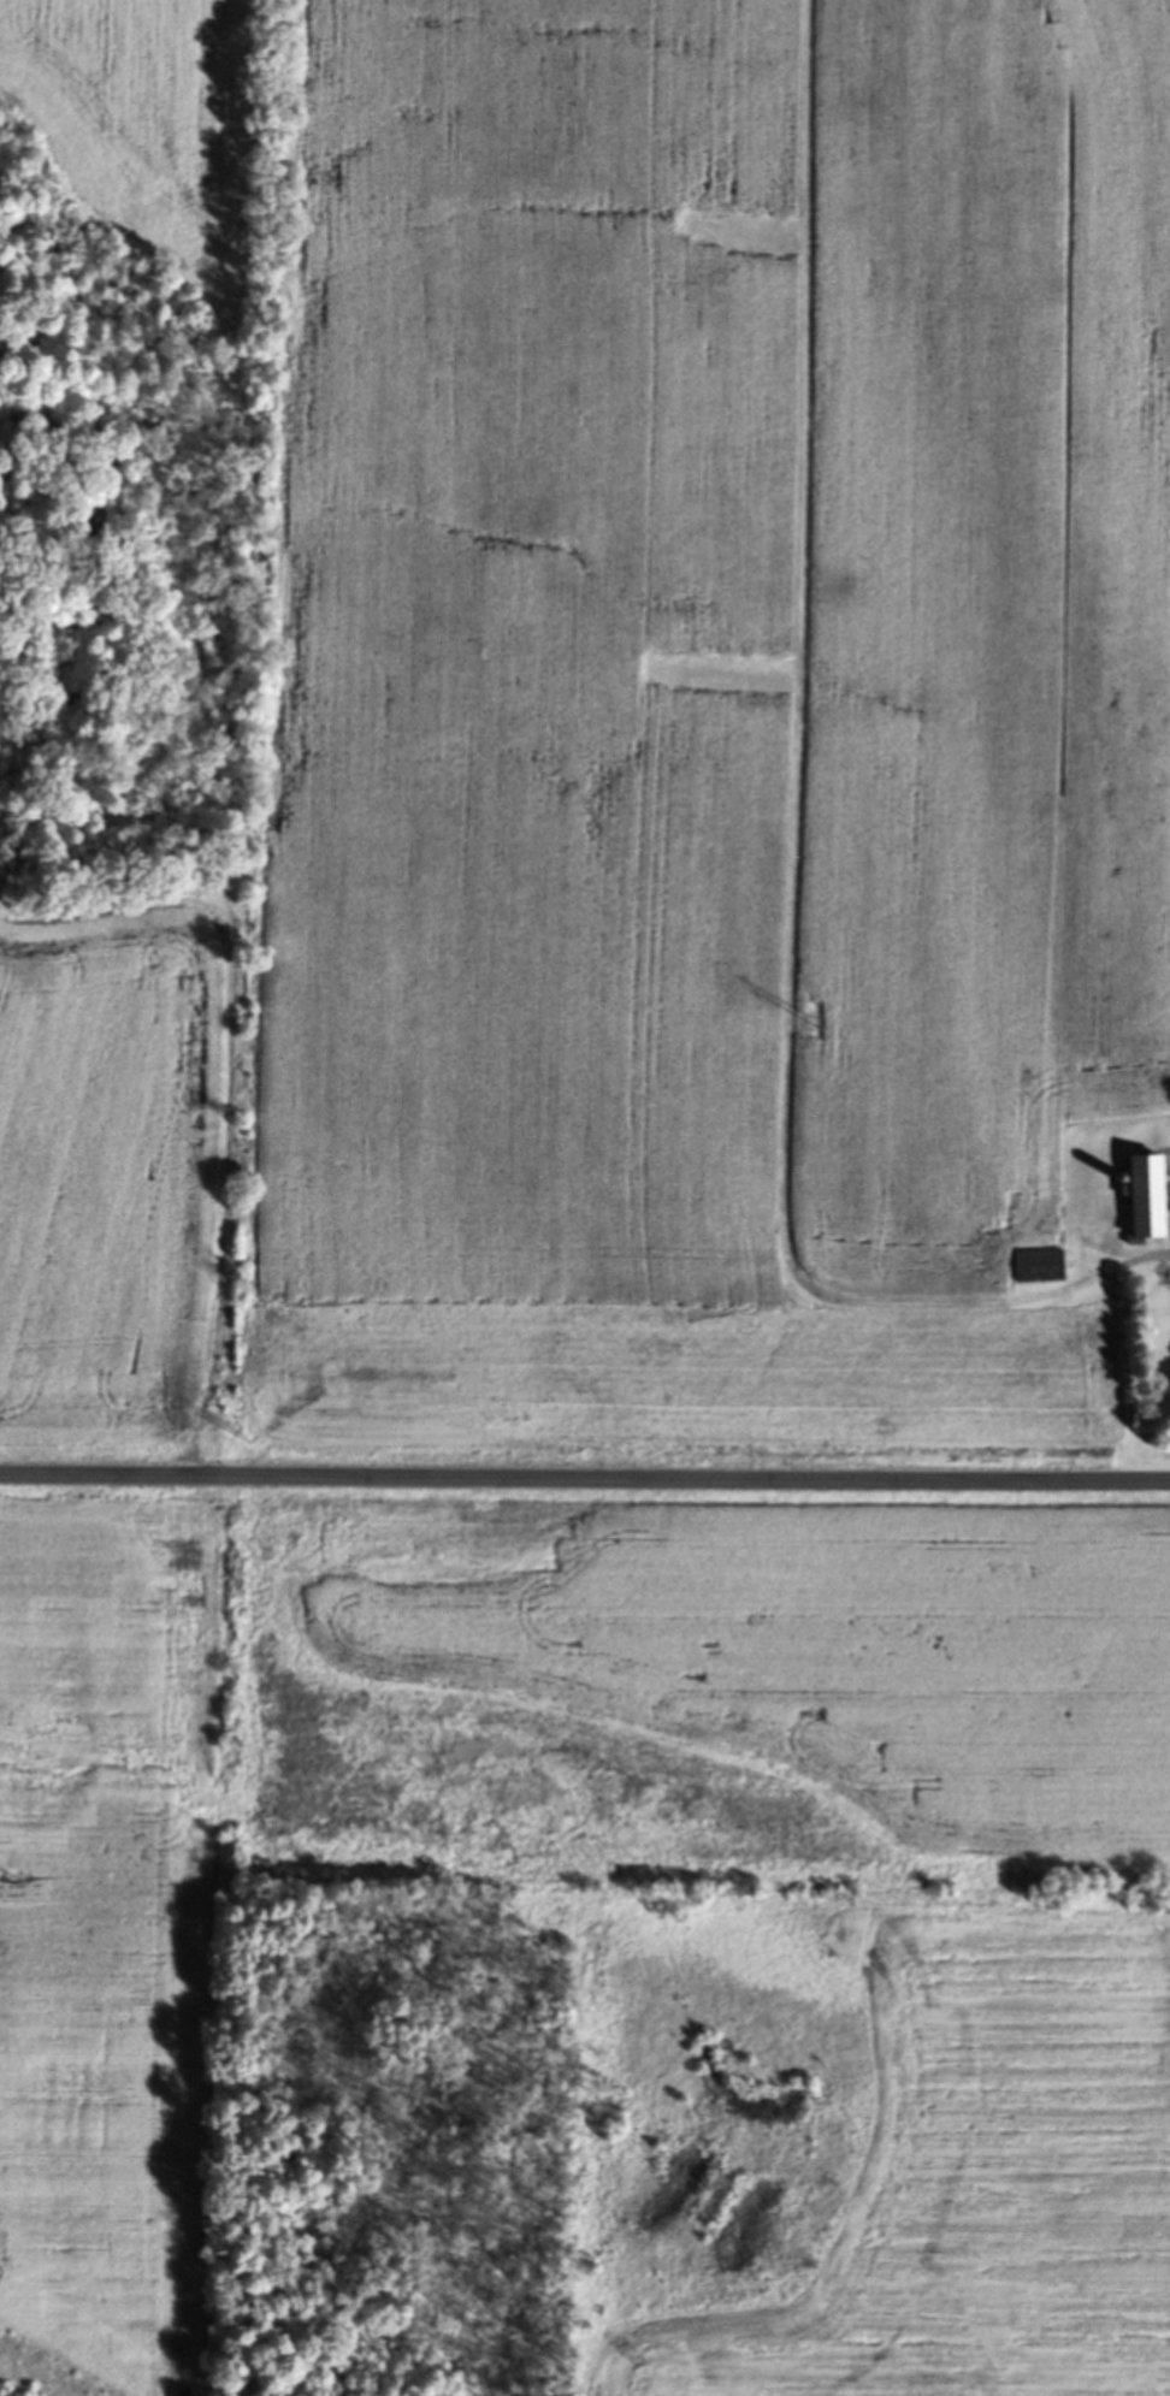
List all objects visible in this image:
power tower: (819, 1023)
building: (1146, 1199)
building: (1039, 1270)
power tower: (241, 1432)
road: (584, 1478)
power tower: (5, 1888)

